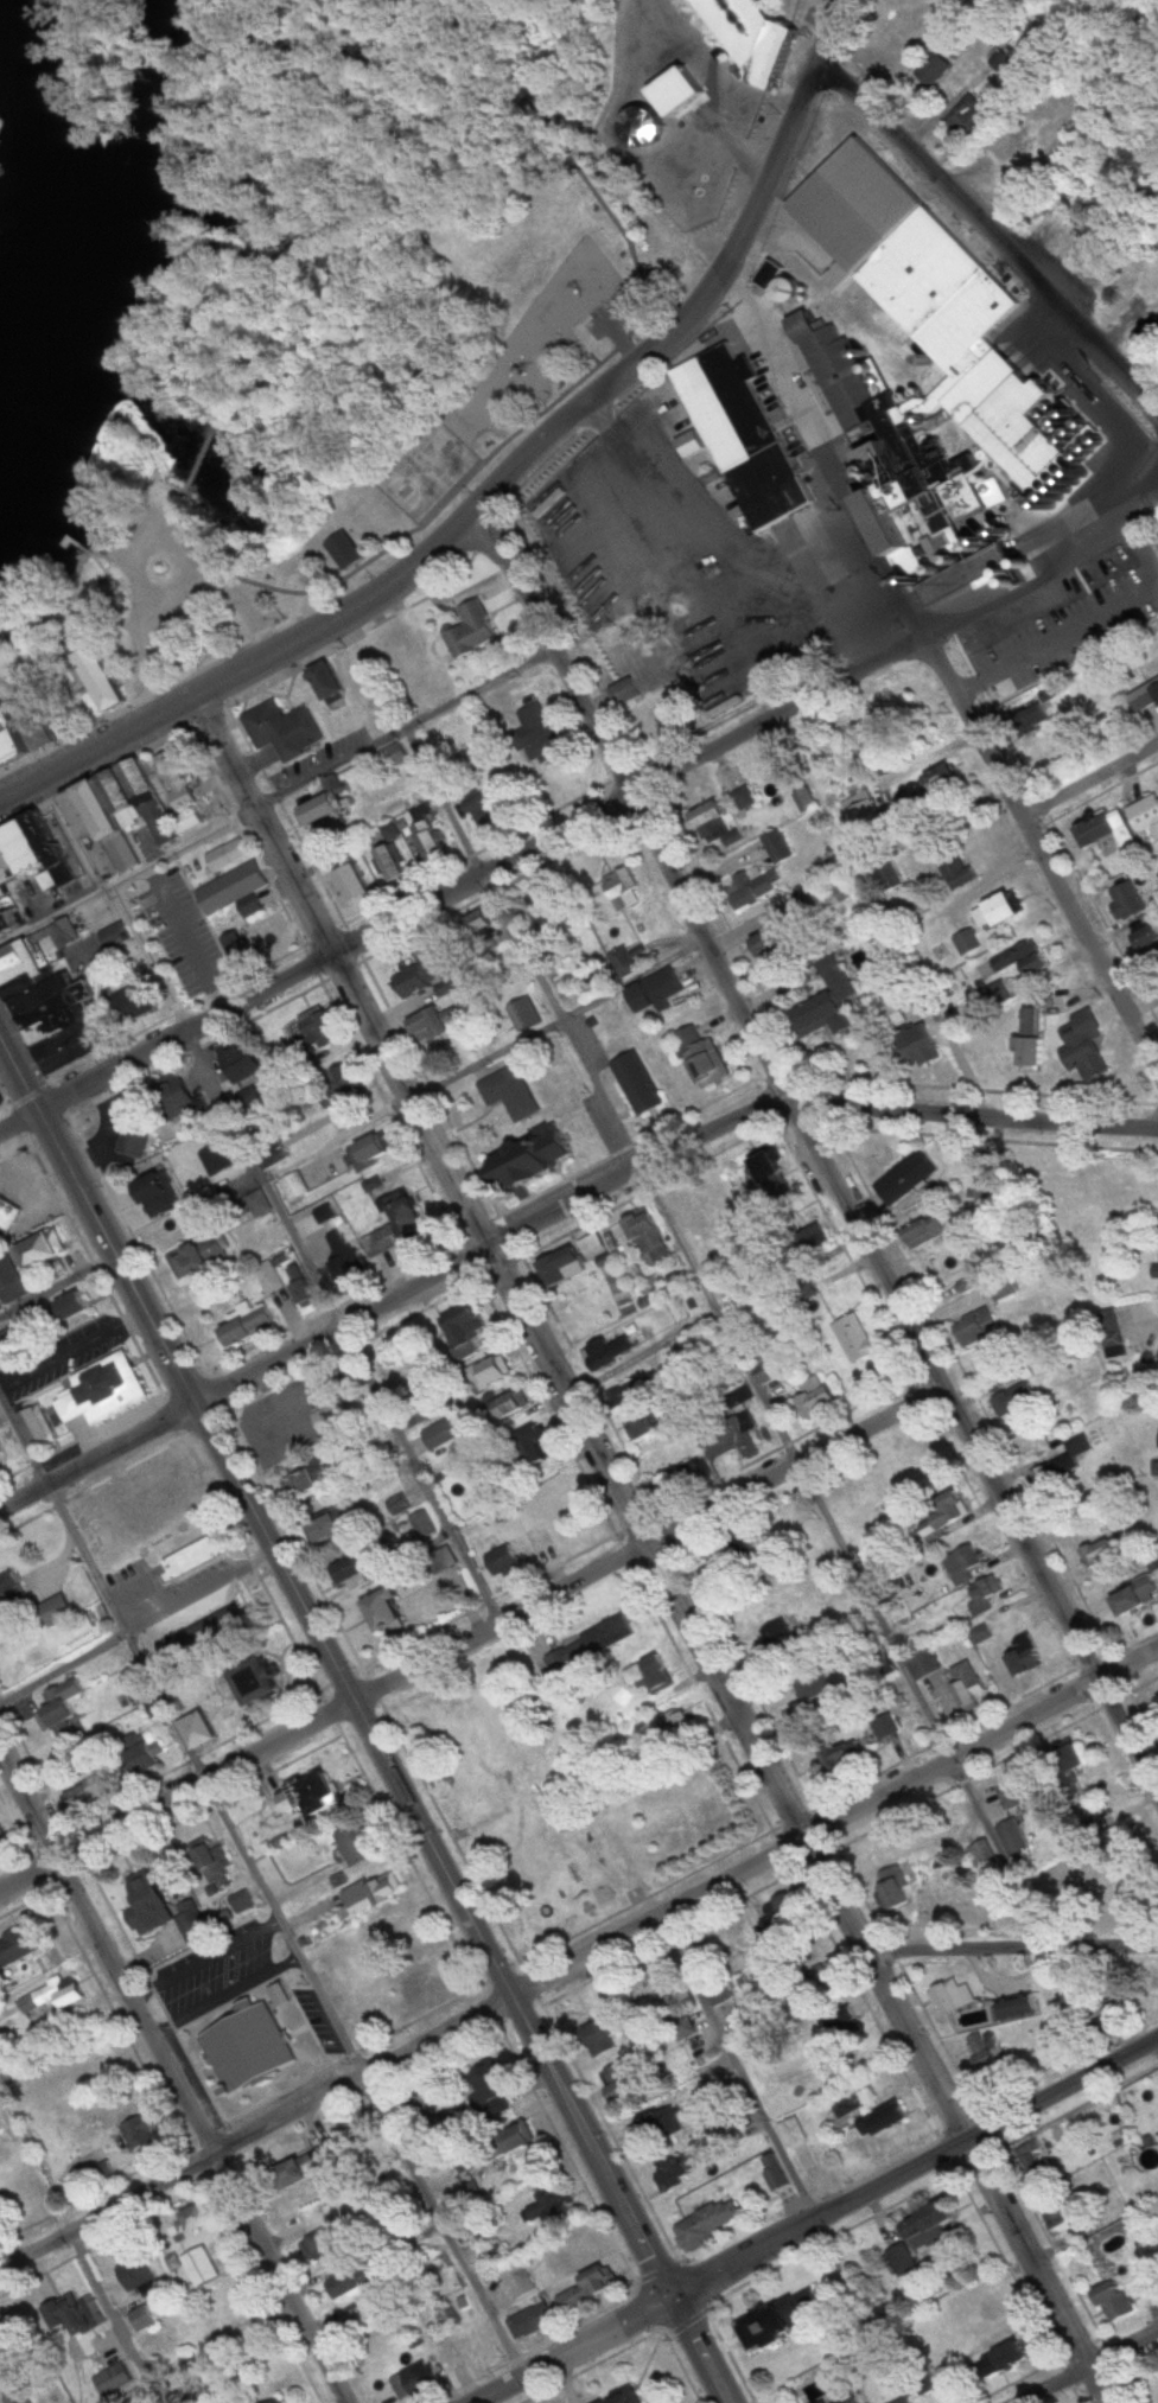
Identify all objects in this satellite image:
building: (755, 38)
building: (1003, 62)
building: (685, 69)
building: (939, 71)
building: (971, 117)
building: (1031, 122)
river: (44, 225)
road: (988, 230)
building: (902, 254)
park: (348, 321)
building: (739, 429)
building: (692, 446)
building: (904, 474)
road: (502, 476)
building: (604, 478)
building: (349, 552)
building: (657, 571)
building: (1143, 576)
building: (475, 632)
building: (997, 654)
road: (942, 675)
building: (720, 676)
building: (109, 681)
building: (331, 682)
building: (623, 693)
building: (1144, 697)
building: (1030, 718)
building: (661, 720)
building: (279, 726)
building: (42, 728)
building: (539, 735)
building: (12, 739)
building: (392, 757)
road: (1089, 776)
building: (176, 782)
building: (946, 782)
building: (743, 799)
building: (807, 802)
building: (478, 805)
road: (596, 805)
building: (326, 808)
building: (1147, 817)
building: (126, 818)
building: (719, 826)
building: (1112, 833)
building: (430, 842)
building: (777, 847)
building: (225, 855)
building: (394, 865)
building: (28, 871)
road: (477, 871)
building: (961, 873)
road: (127, 874)
building: (357, 885)
building: (624, 888)
building: (756, 888)
building: (235, 890)
road: (109, 899)
building: (1131, 901)
building: (549, 909)
building: (1012, 910)
building: (987, 917)
building: (485, 933)
building: (112, 937)
building: (1147, 942)
building: (971, 943)
building: (776, 945)
building: (1024, 960)
building: (98, 967)
building: (415, 981)
building: (660, 990)
building: (55, 1000)
building: (831, 1002)
building: (133, 1005)
building: (526, 1014)
road: (555, 1016)
building: (435, 1026)
building: (324, 1031)
building: (914, 1039)
building: (1083, 1046)
building: (1032, 1054)
building: (704, 1058)
building: (249, 1064)
building: (348, 1078)
building: (641, 1084)
building: (183, 1094)
building: (511, 1094)
building: (4, 1098)
road: (972, 1114)
road: (17, 1117)
road: (104, 1129)
building: (135, 1140)
road: (814, 1149)
building: (371, 1152)
building: (540, 1159)
building: (774, 1173)
building: (982, 1177)
building: (905, 1180)
building: (294, 1186)
building: (164, 1197)
building: (261, 1206)
building: (8, 1212)
building: (409, 1212)
building: (930, 1230)
building: (648, 1234)
road: (486, 1241)
building: (46, 1250)
building: (339, 1251)
building: (205, 1257)
building: (574, 1260)
building: (9, 1275)
building: (268, 1276)
road: (57, 1282)
building: (301, 1286)
building: (74, 1307)
road: (715, 1315)
road: (339, 1325)
building: (248, 1326)
building: (973, 1327)
building: (469, 1331)
building: (25, 1333)
building: (853, 1339)
road: (71, 1346)
building: (607, 1356)
building: (768, 1371)
building: (496, 1372)
building: (104, 1390)
building: (635, 1394)
building: (816, 1400)
building: (1017, 1400)
building: (515, 1406)
building: (419, 1419)
building: (39, 1424)
building: (644, 1424)
building: (443, 1436)
road: (21, 1439)
building: (728, 1439)
building: (2, 1445)
building: (540, 1447)
road: (96, 1453)
building: (1063, 1466)
building: (682, 1478)
building: (314, 1481)
building: (558, 1491)
building: (158, 1499)
building: (400, 1506)
building: (946, 1521)
building: (337, 1530)
road: (648, 1545)
road: (649, 1545)
building: (1109, 1551)
building: (191, 1559)
building: (502, 1562)
building: (965, 1564)
building: (360, 1574)
building: (13, 1589)
building: (986, 1595)
building: (1139, 1599)
building: (58, 1610)
building: (389, 1611)
road: (873, 1614)
road: (136, 1625)
road: (123, 1628)
building: (215, 1628)
building: (613, 1632)
building: (778, 1647)
building: (1029, 1658)
building: (927, 1663)
building: (566, 1665)
building: (271, 1679)
building: (140, 1685)
building: (971, 1685)
building: (64, 1706)
building: (809, 1707)
road: (365, 1721)
building: (203, 1729)
building: (840, 1754)
building: (1073, 1757)
building: (149, 1758)
road: (176, 1791)
building: (1017, 1795)
building: (310, 1796)
road: (833, 1825)
building: (4, 1838)
building: (1014, 1838)
building: (358, 1846)
building: (984, 1854)
building: (373, 1894)
building: (901, 1895)
building: (243, 1901)
building: (165, 1907)
road: (279, 1925)
building: (775, 1925)
building: (19, 1946)
road: (1010, 1946)
road: (210, 1953)
road: (229, 1989)
building: (280, 1995)
building: (56, 1996)
building: (954, 1996)
building: (1019, 2009)
building: (600, 2034)
building: (260, 2047)
building: (984, 2052)
road: (179, 2055)
building: (624, 2079)
building: (495, 2084)
building: (883, 2120)
building: (660, 2127)
road: (255, 2129)
building: (794, 2133)
building: (139, 2134)
building: (529, 2140)
building: (1038, 2166)
building: (311, 2171)
road: (914, 2172)
building: (676, 2173)
building: (782, 2174)
building: (556, 2208)
building: (202, 2218)
building: (1061, 2222)
road: (440, 2224)
building: (713, 2224)
building: (934, 2226)
building: (498, 2256)
building: (578, 2256)
building: (903, 2259)
building: (203, 2268)
building: (1149, 2269)
building: (139, 2275)
building: (520, 2281)
building: (591, 2290)
traffic signals: (669, 2294)
building: (1118, 2302)
building: (380, 2312)
building: (978, 2312)
building: (69, 2318)
building: (142, 2320)
building: (788, 2320)
building: (533, 2321)
building: (8, 2338)
road: (571, 2347)
road: (1075, 2358)
building: (1006, 2360)
road: (149, 2365)
building: (113, 2379)
building: (416, 2382)
road: (128, 2389)
building: (192, 2394)
building: (19, 2397)
building: (624, 2397)
building: (848, 2397)
building: (282, 2401)
building: (906, 2401)
building: (920, 2402)

